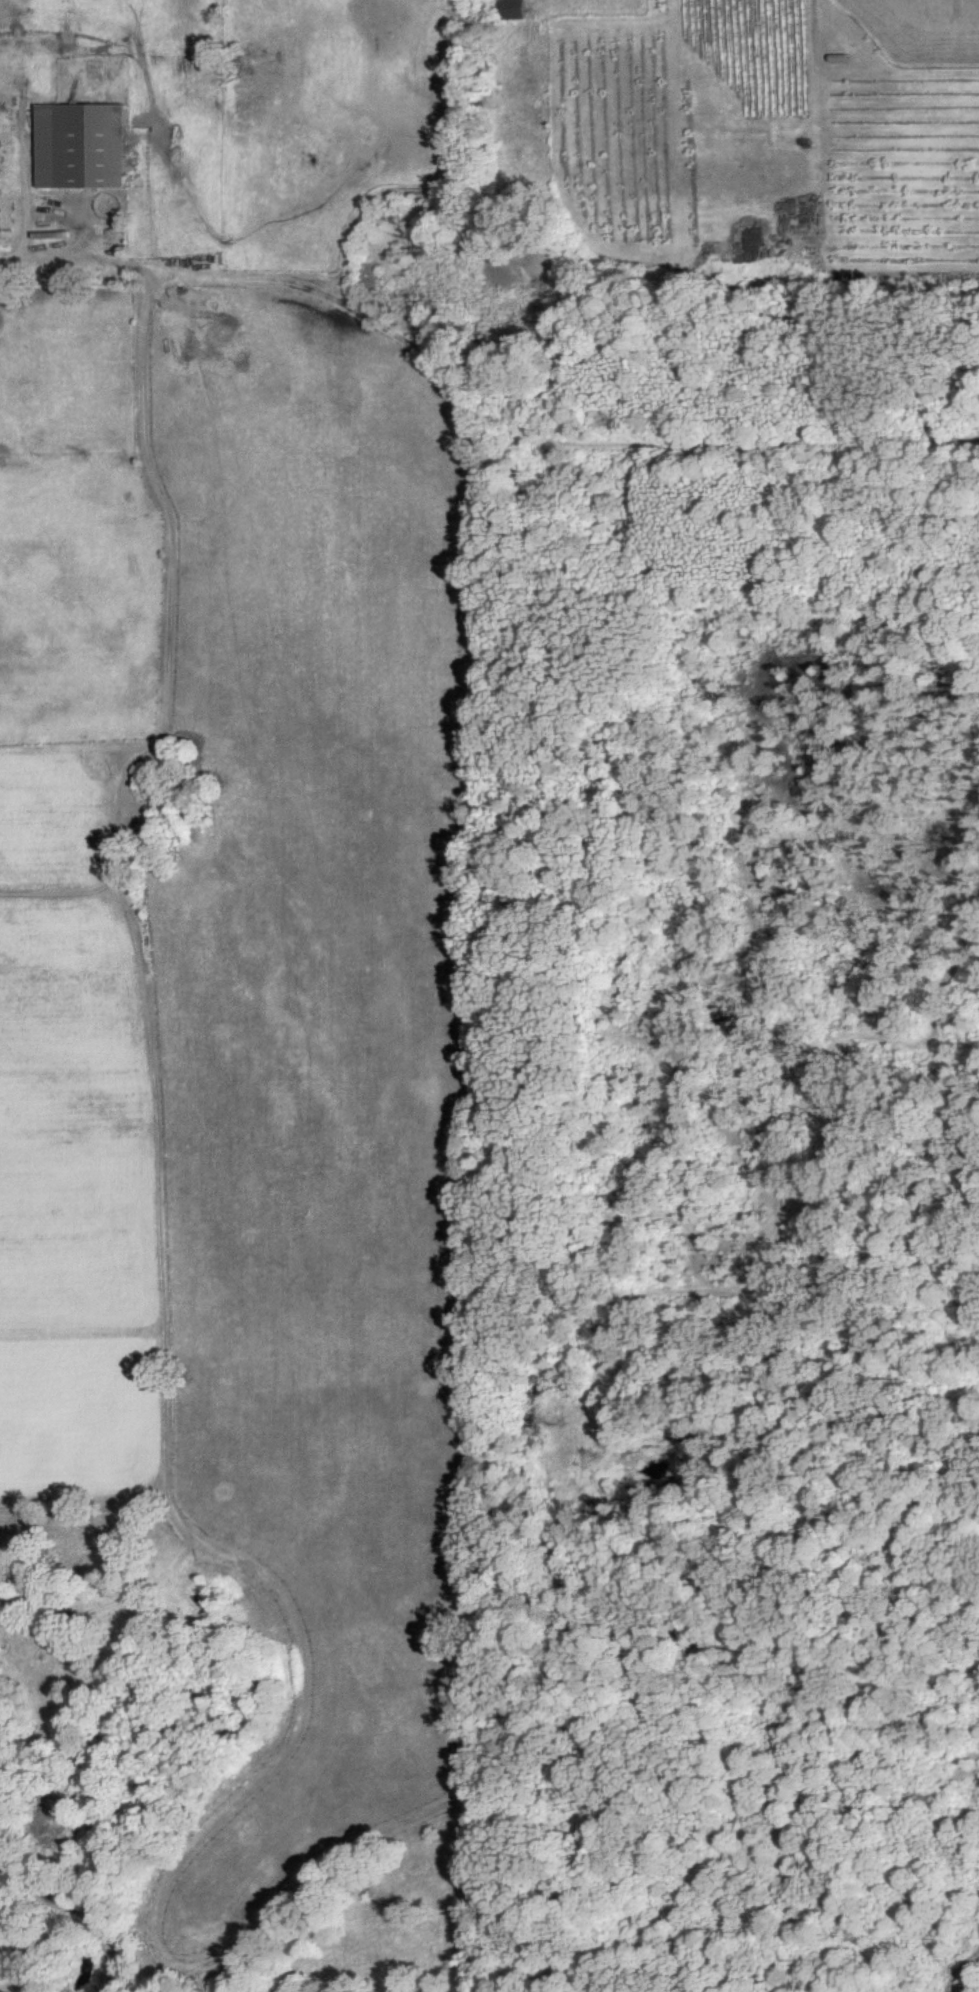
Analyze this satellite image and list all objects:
building: (83, 146)

